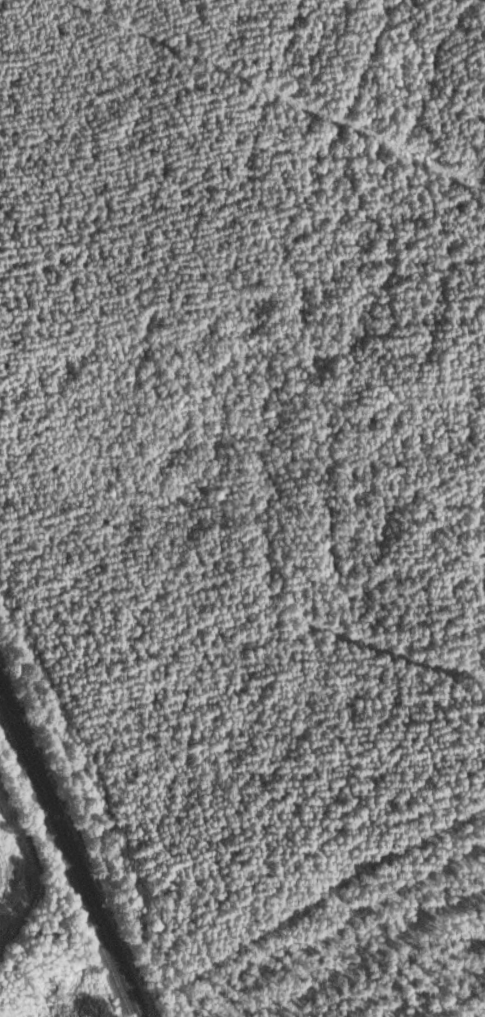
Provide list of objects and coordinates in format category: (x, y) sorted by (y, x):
railway: (72, 850)

